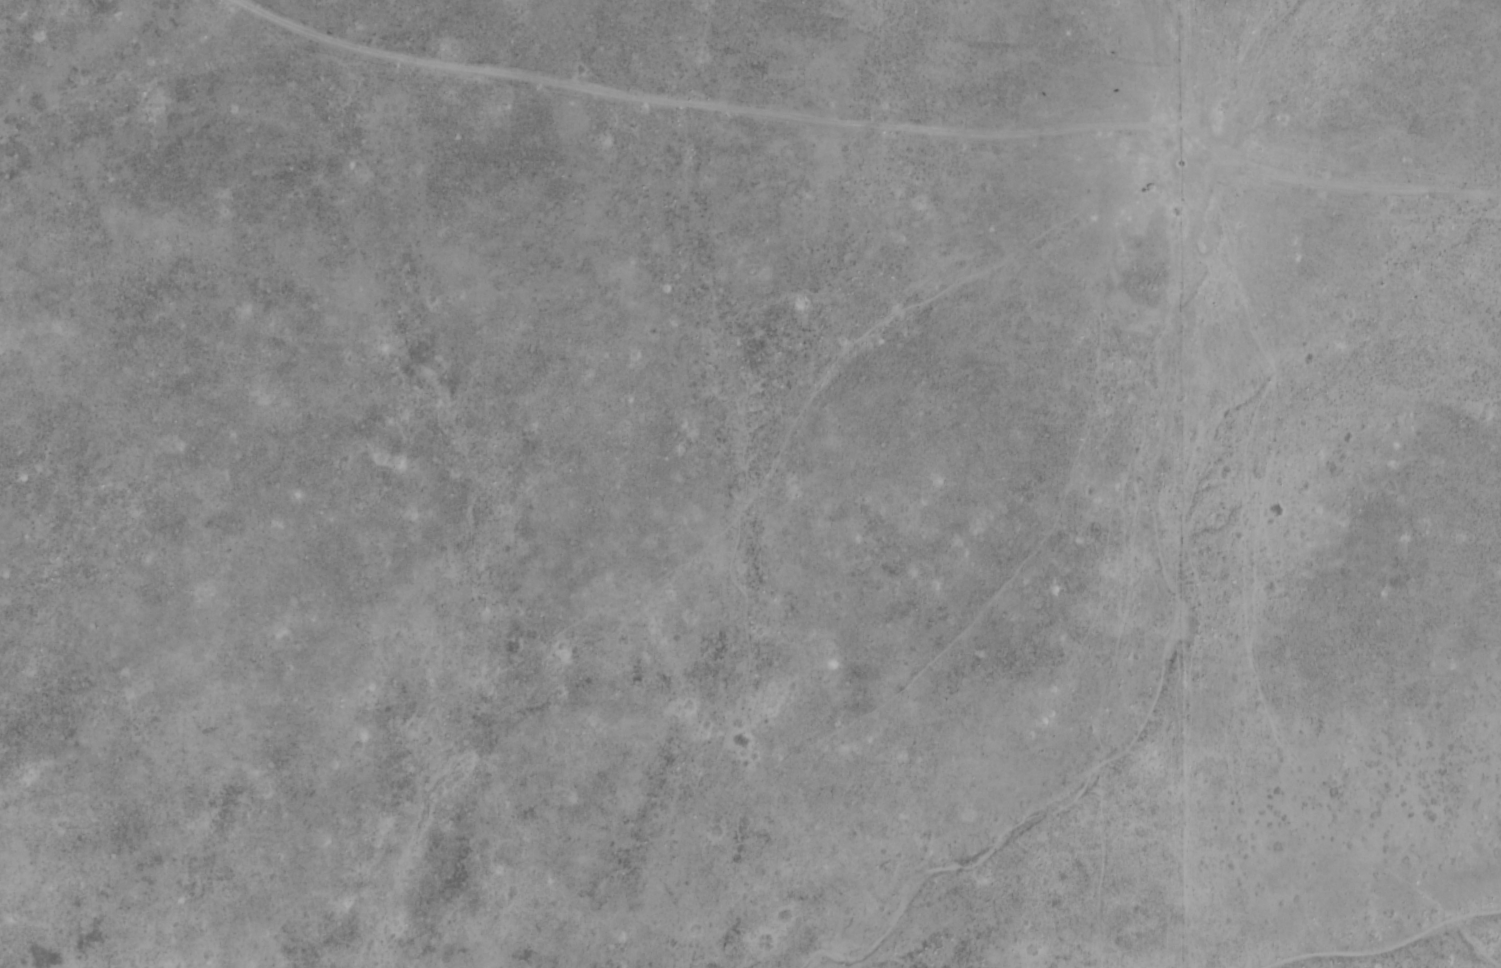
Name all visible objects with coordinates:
road: (1272, 122)

